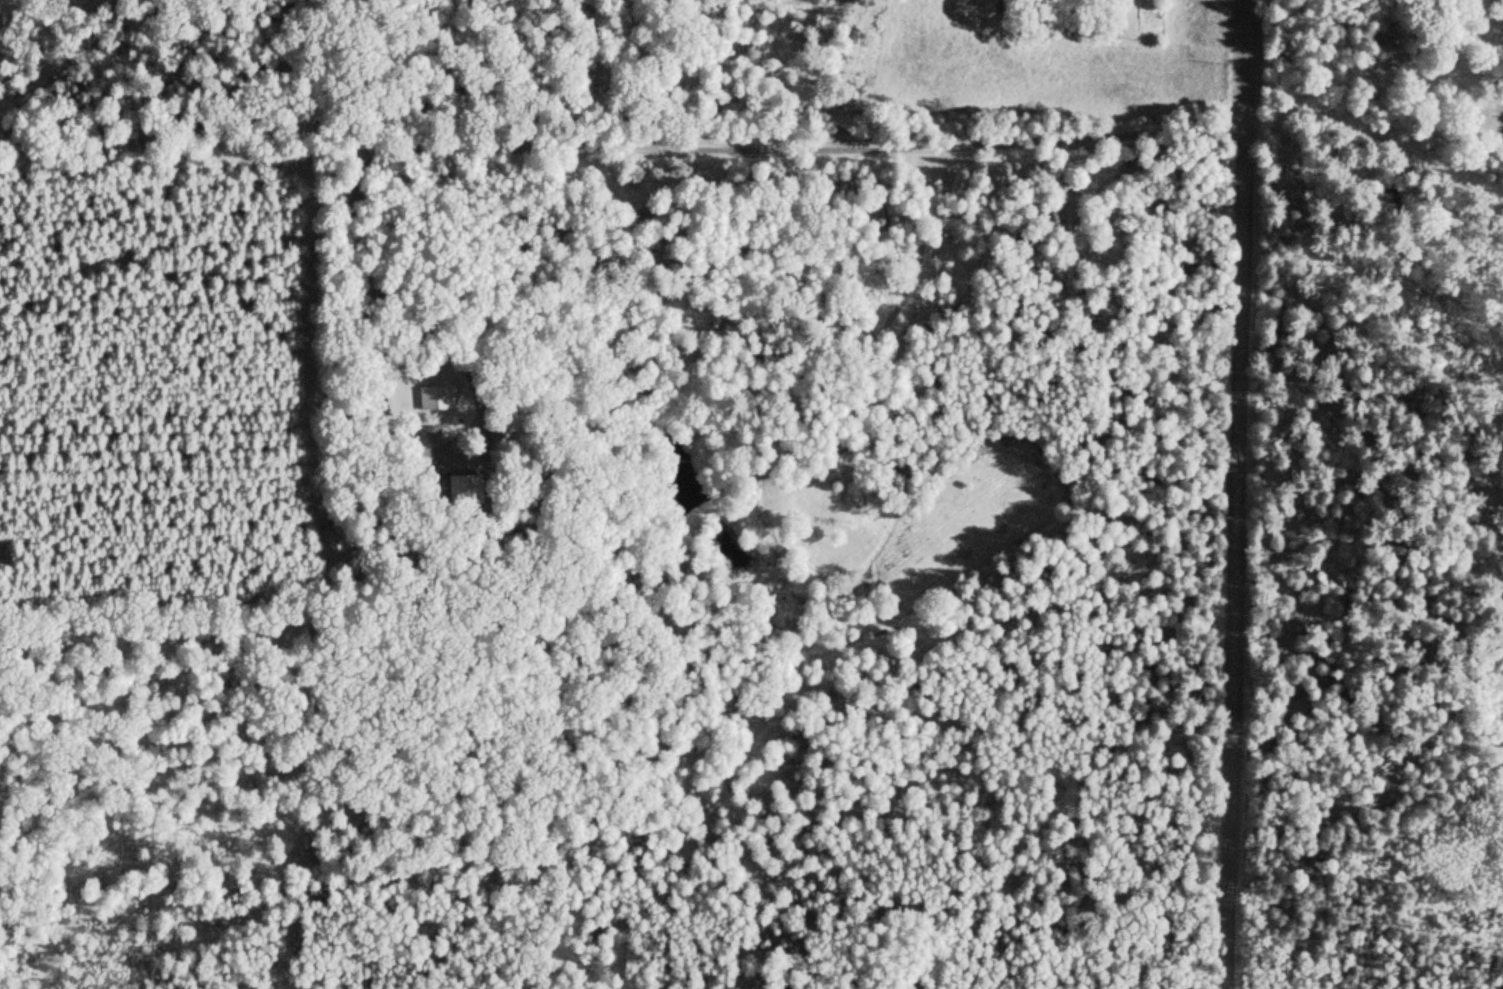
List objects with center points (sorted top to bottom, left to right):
building: (435, 399)
road: (1235, 494)
road: (1016, 804)

